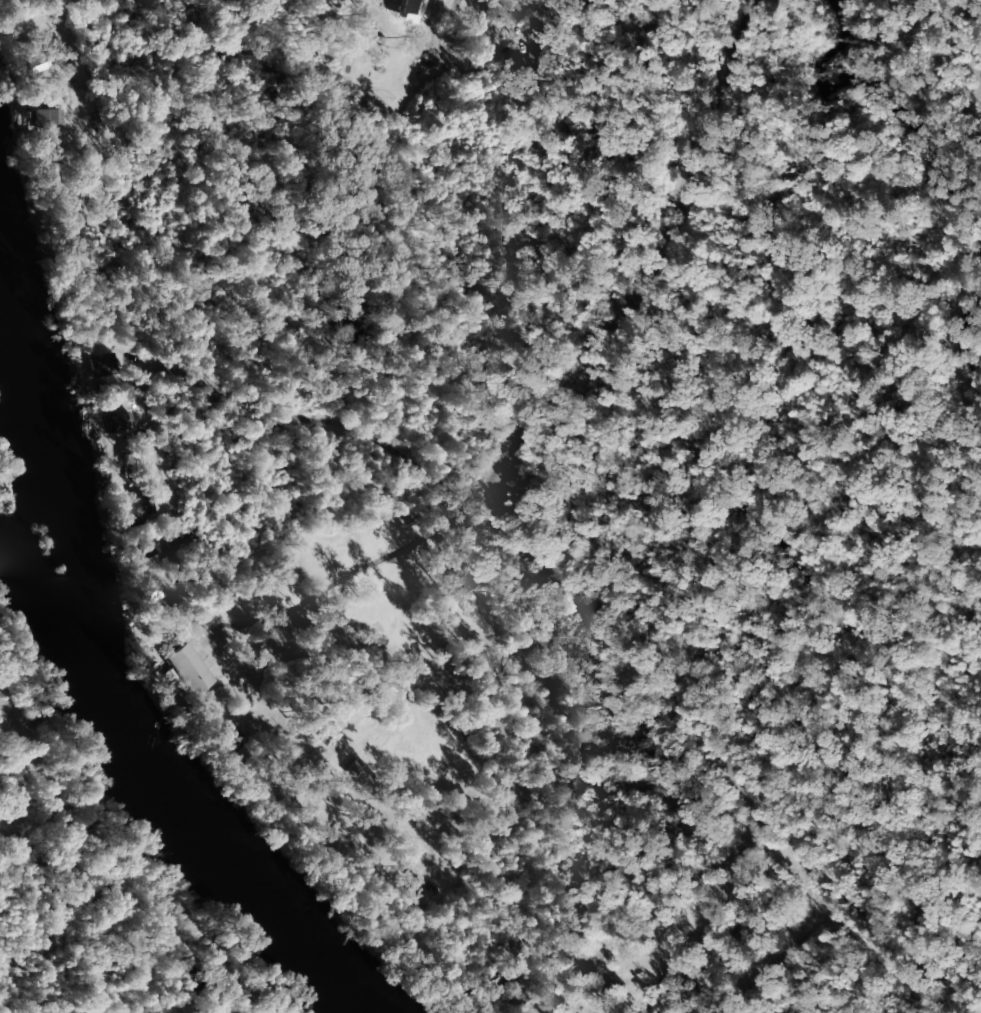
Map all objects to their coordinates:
road: (220, 40)
building: (322, 45)
road: (234, 71)
building: (44, 119)
road: (657, 258)
road: (109, 359)
building: (101, 365)
building: (115, 422)
building: (133, 509)
road: (383, 537)
building: (146, 548)
building: (149, 592)
building: (185, 669)
road: (268, 687)
building: (230, 740)
road: (712, 743)
road: (776, 834)
road: (730, 874)
road: (727, 933)
road: (768, 973)

